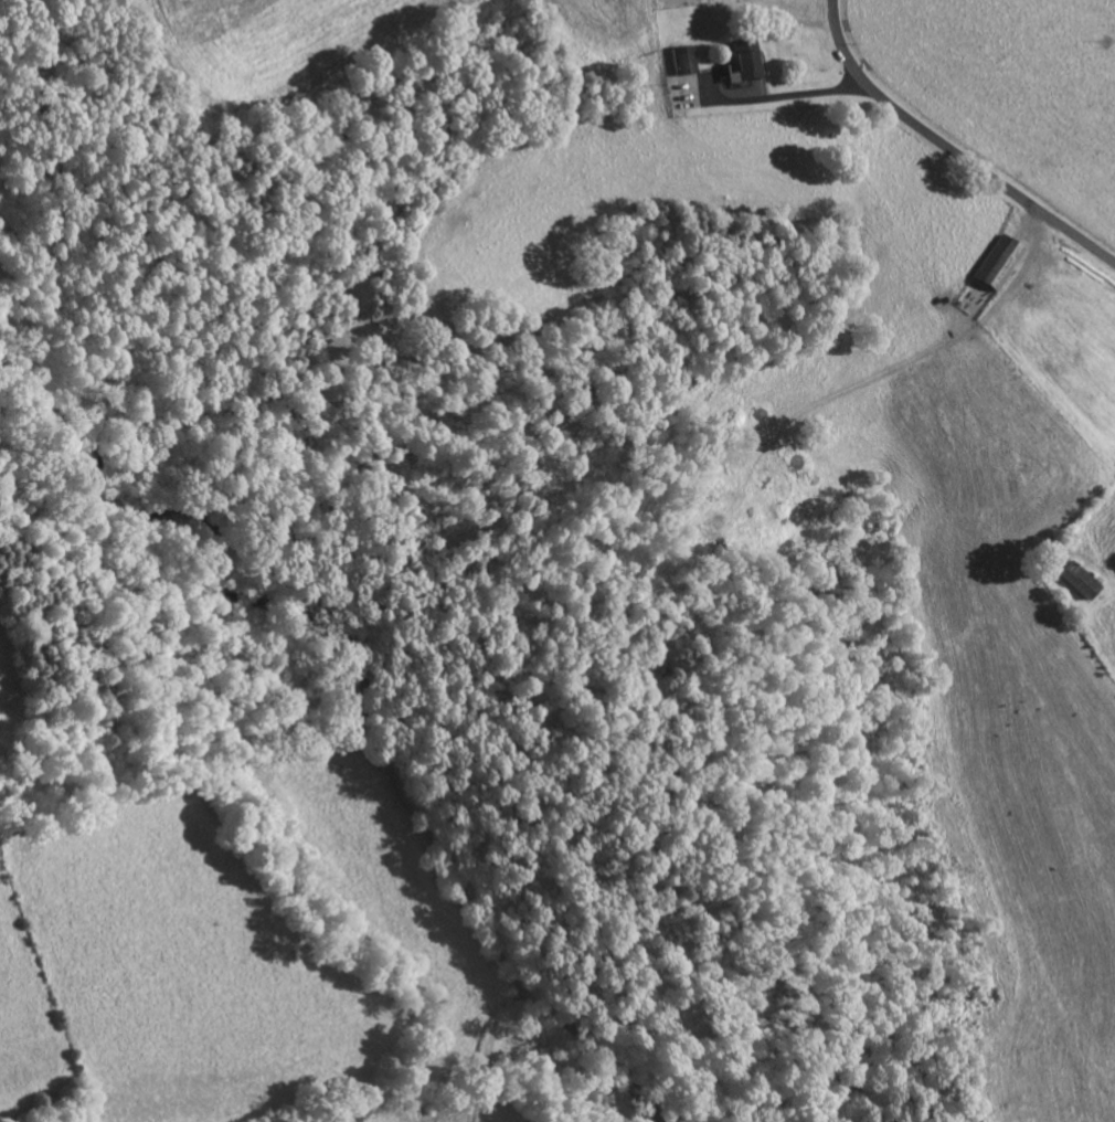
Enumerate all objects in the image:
building: (745, 66)
road: (954, 147)
building: (1001, 265)
building: (1082, 583)

